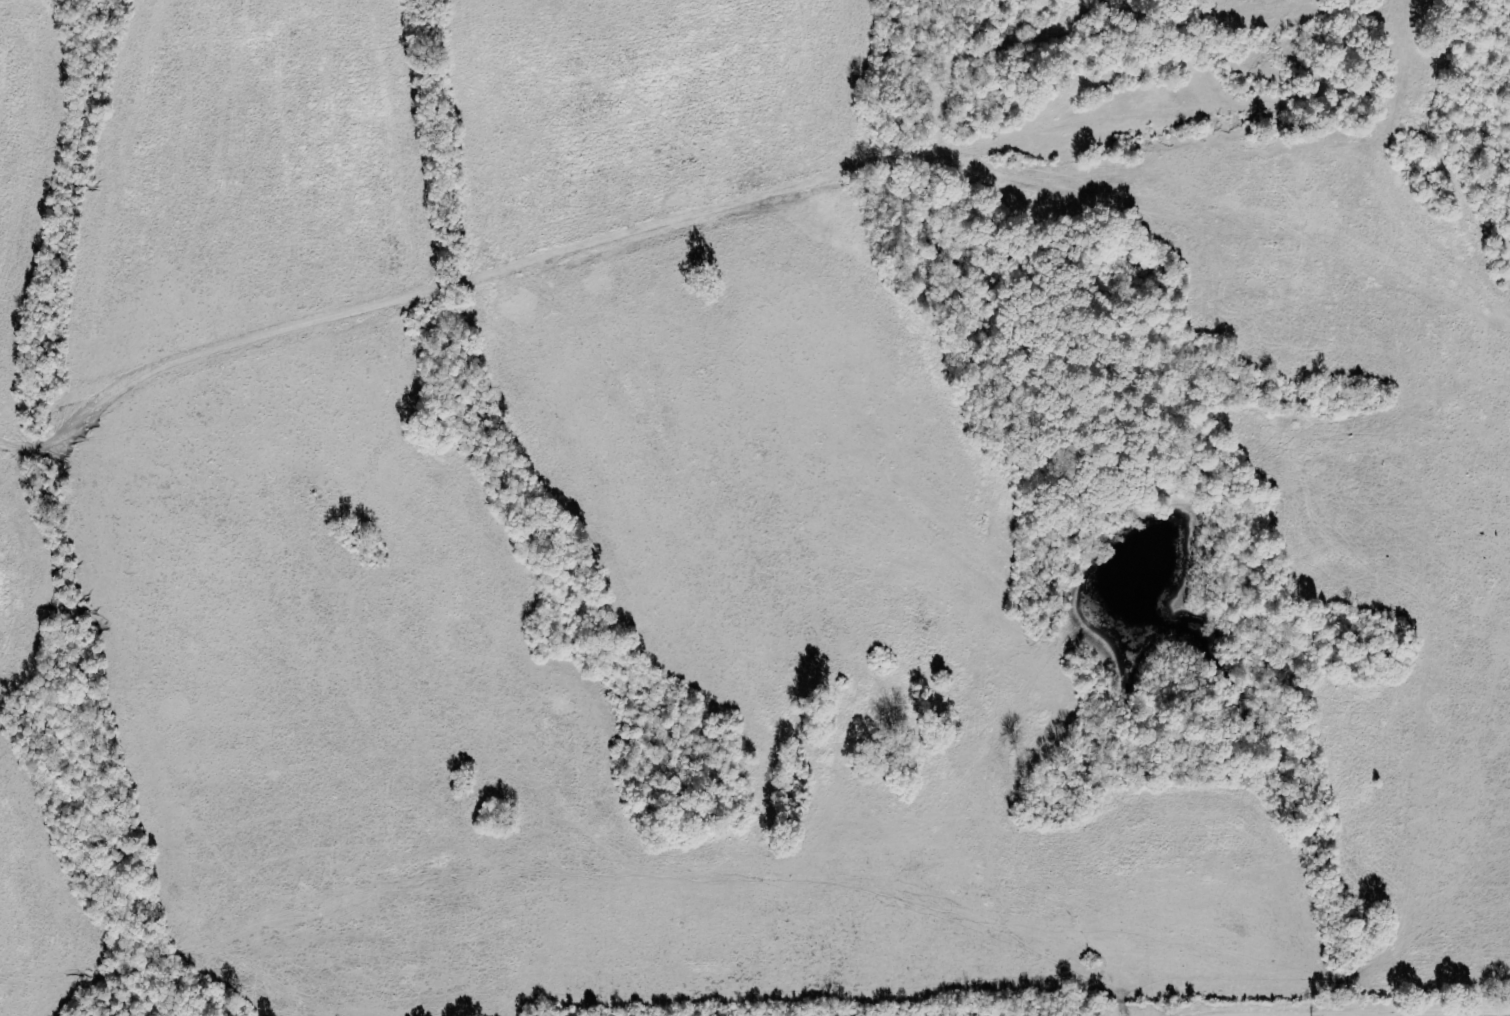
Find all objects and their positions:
road: (1412, 1011)
road: (1281, 1015)

